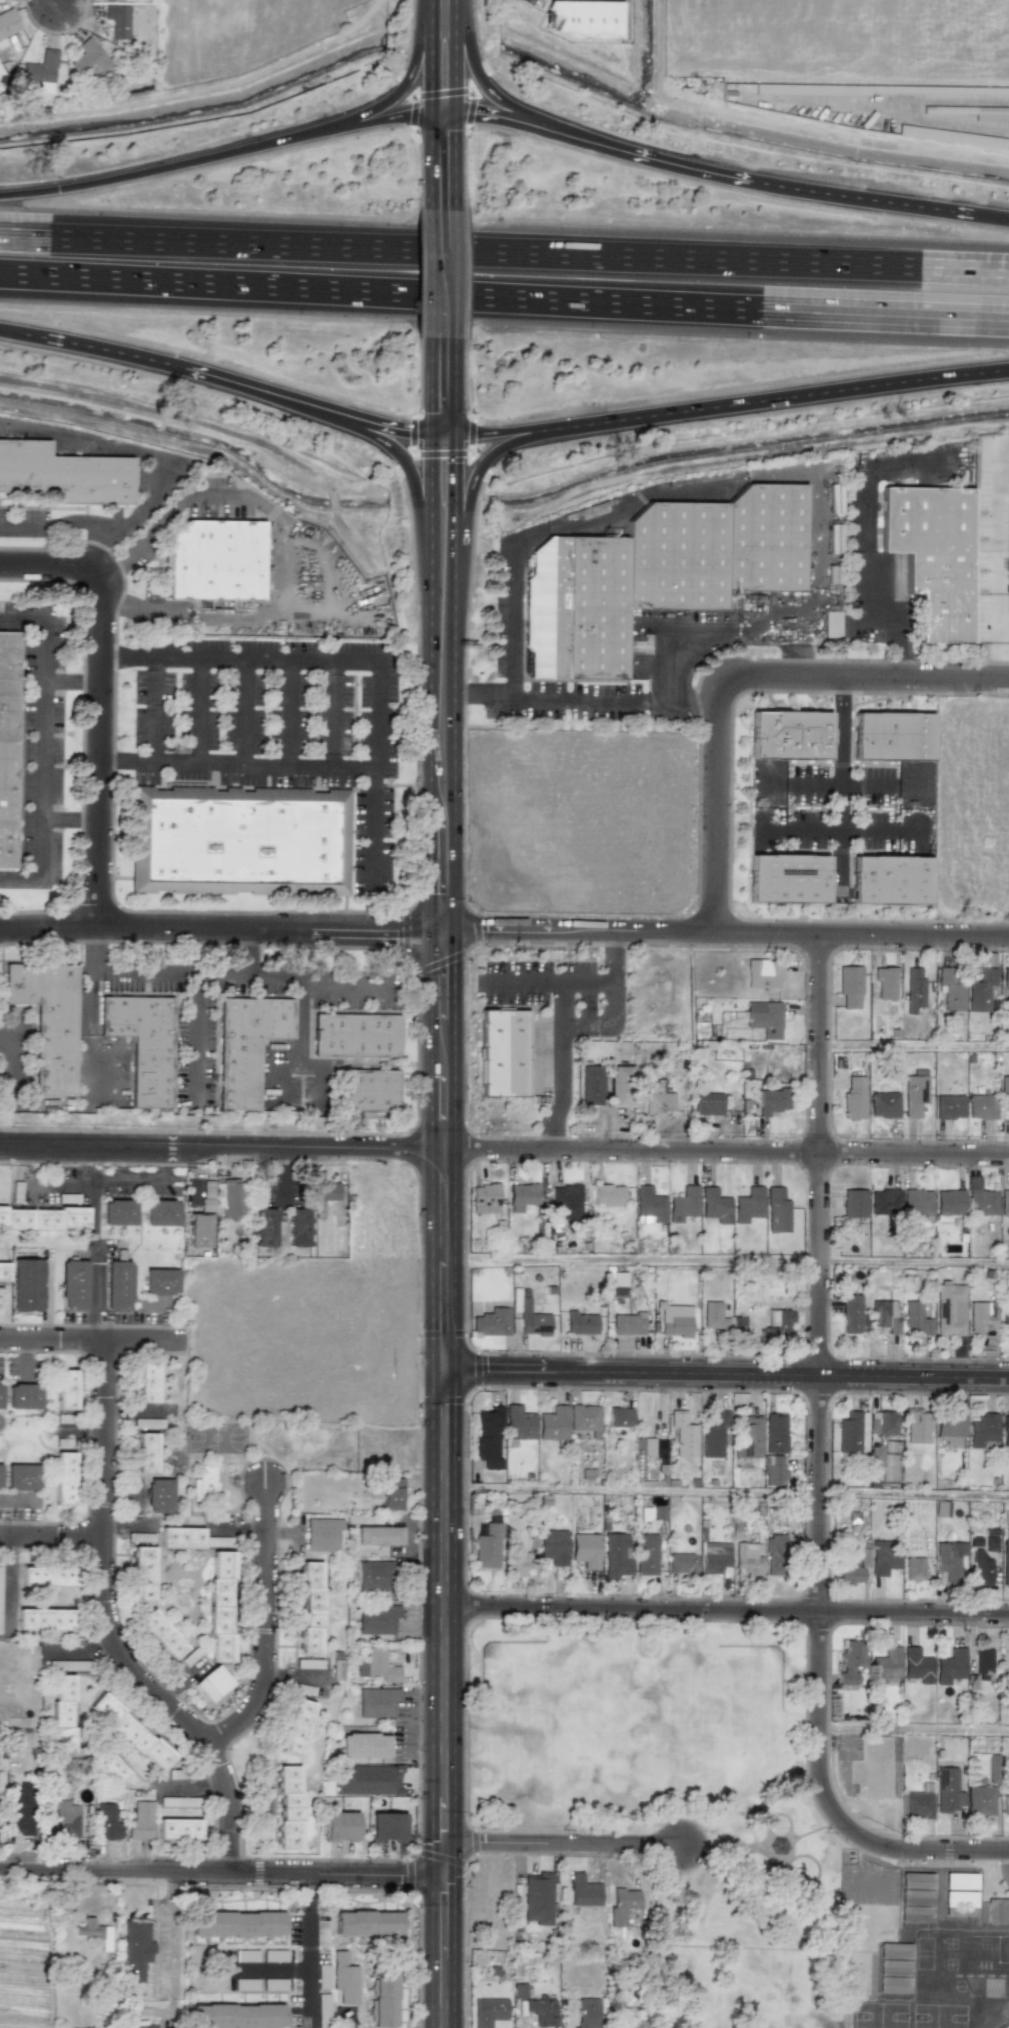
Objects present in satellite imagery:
road: (59, 3)
road: (544, 4)
road: (440, 16)
building: (584, 18)
building: (117, 20)
building: (7, 25)
road: (476, 37)
building: (13, 42)
building: (91, 60)
building: (41, 72)
road: (441, 75)
road: (506, 102)
building: (980, 112)
road: (346, 116)
road: (522, 123)
building: (953, 137)
road: (220, 153)
road: (442, 163)
road: (783, 188)
road: (990, 218)
road: (504, 241)
road: (443, 274)
road: (504, 305)
road: (6, 332)
road: (98, 347)
road: (443, 385)
road: (257, 388)
road: (800, 396)
road: (386, 426)
road: (518, 429)
traffic signals: (444, 432)
road: (85, 441)
road: (776, 454)
building: (63, 474)
road: (470, 494)
road: (145, 500)
road: (417, 509)
road: (81, 517)
road: (19, 529)
road: (443, 539)
road: (998, 541)
road: (111, 551)
building: (933, 555)
building: (212, 561)
road: (66, 565)
building: (1008, 570)
building: (665, 575)
road: (871, 594)
road: (327, 601)
road: (283, 604)
road: (20, 620)
road: (1006, 621)
road: (513, 622)
building: (831, 624)
road: (884, 628)
road: (1002, 650)
road: (896, 654)
road: (294, 655)
road: (954, 662)
road: (443, 671)
road: (863, 678)
road: (71, 679)
road: (478, 697)
road: (643, 699)
road: (689, 699)
road: (158, 708)
road: (199, 708)
road: (246, 709)
road: (291, 709)
road: (334, 710)
parking lot: (274, 726)
building: (787, 735)
building: (890, 738)
building: (5, 746)
road: (41, 750)
road: (238, 763)
road: (100, 765)
road: (841, 783)
road: (840, 786)
road: (714, 804)
road: (70, 817)
road: (376, 820)
road: (841, 830)
building: (238, 845)
road: (20, 879)
building: (786, 879)
building: (889, 879)
road: (504, 928)
road: (410, 947)
road: (99, 950)
road: (249, 950)
road: (149, 970)
road: (256, 973)
building: (762, 973)
building: (1006, 977)
building: (884, 982)
road: (544, 983)
building: (849, 986)
road: (345, 987)
building: (914, 990)
building: (951, 990)
building: (981, 990)
building: (1008, 1004)
building: (764, 1018)
building: (45, 1021)
road: (569, 1024)
road: (305, 1025)
road: (198, 1029)
road: (440, 1033)
road: (87, 1036)
building: (354, 1036)
building: (140, 1045)
building: (245, 1047)
road: (913, 1047)
building: (727, 1051)
building: (502, 1053)
road: (14, 1064)
road: (275, 1068)
road: (321, 1073)
building: (589, 1085)
building: (619, 1085)
building: (372, 1091)
building: (914, 1095)
building: (854, 1098)
building: (657, 1099)
building: (706, 1101)
building: (772, 1102)
building: (884, 1105)
building: (949, 1106)
building: (981, 1106)
road: (604, 1132)
road: (504, 1150)
road: (63, 1184)
building: (327, 1191)
building: (608, 1195)
building: (207, 1196)
building: (521, 1196)
building: (232, 1197)
building: (484, 1198)
building: (980, 1199)
building: (565, 1201)
building: (916, 1201)
building: (885, 1202)
building: (853, 1203)
building: (948, 1203)
building: (1004, 1203)
building: (683, 1204)
building: (648, 1205)
building: (748, 1205)
building: (715, 1206)
building: (777, 1210)
building: (118, 1212)
building: (161, 1213)
building: (43, 1218)
road: (96, 1222)
building: (297, 1227)
building: (264, 1228)
building: (200, 1230)
road: (724, 1264)
building: (3, 1271)
building: (160, 1281)
building: (618, 1283)
building: (26, 1285)
building: (73, 1285)
building: (118, 1285)
building: (949, 1310)
building: (853, 1313)
building: (529, 1315)
building: (713, 1316)
building: (882, 1318)
building: (915, 1318)
building: (982, 1318)
building: (673, 1319)
building: (492, 1322)
building: (580, 1323)
building: (627, 1324)
building: (776, 1326)
building: (1004, 1327)
road: (93, 1337)
road: (817, 1372)
road: (723, 1374)
building: (147, 1382)
building: (65, 1389)
building: (0, 1395)
building: (23, 1396)
building: (584, 1417)
building: (619, 1417)
building: (518, 1423)
building: (553, 1423)
building: (883, 1423)
building: (916, 1426)
road: (439, 1430)
building: (982, 1430)
building: (1005, 1432)
building: (775, 1433)
building: (848, 1433)
road: (88, 1435)
building: (683, 1435)
building: (713, 1436)
building: (488, 1437)
building: (747, 1437)
building: (644, 1447)
building: (146, 1452)
building: (876, 1453)
building: (0, 1466)
building: (773, 1470)
building: (646, 1474)
building: (21, 1476)
building: (63, 1478)
building: (204, 1483)
building: (391, 1493)
road: (724, 1493)
building: (158, 1495)
road: (137, 1508)
road: (129, 1523)
road: (50, 1533)
building: (322, 1534)
building: (377, 1535)
building: (181, 1538)
building: (553, 1546)
building: (487, 1547)
building: (585, 1550)
building: (645, 1554)
building: (776, 1555)
building: (615, 1556)
building: (883, 1557)
building: (715, 1558)
building: (747, 1560)
building: (984, 1560)
building: (948, 1561)
building: (682, 1563)
building: (517, 1564)
building: (852, 1568)
building: (913, 1569)
building: (142, 1574)
building: (374, 1575)
building: (46, 1576)
road: (6, 1583)
building: (220, 1606)
building: (311, 1607)
road: (724, 1610)
building: (44, 1619)
building: (376, 1619)
road: (110, 1624)
road: (264, 1624)
building: (161, 1634)
road: (81, 1652)
building: (850, 1662)
building: (983, 1664)
building: (885, 1665)
building: (916, 1665)
building: (377, 1666)
building: (950, 1666)
building: (1007, 1675)
building: (210, 1683)
building: (376, 1702)
building: (62, 1715)
building: (296, 1727)
road: (914, 1731)
building: (130, 1732)
building: (364, 1745)
road: (439, 1759)
building: (112, 1766)
building: (871, 1768)
building: (367, 1780)
building: (947, 1790)
building: (979, 1800)
building: (917, 1805)
building: (288, 1807)
building: (17, 1809)
building: (60, 1820)
building: (139, 1820)
building: (106, 1822)
building: (339, 1826)
building: (387, 1826)
building: (178, 1829)
road: (560, 1845)
road: (914, 1847)
road: (219, 1870)
building: (959, 1881)
building: (583, 1891)
building: (915, 1897)
building: (537, 1898)
building: (957, 1902)
building: (624, 1906)
building: (997, 1911)
building: (236, 1923)
building: (366, 1923)
road: (169, 1930)
building: (94, 1932)
building: (135, 1949)
road: (311, 1950)
building: (894, 1951)
building: (893, 1968)
building: (344, 1979)
building: (893, 1984)
building: (518, 1991)
building: (384, 1996)
building: (541, 2010)
building: (487, 2011)
building: (586, 2012)
building: (237, 2016)
building: (146, 2026)

